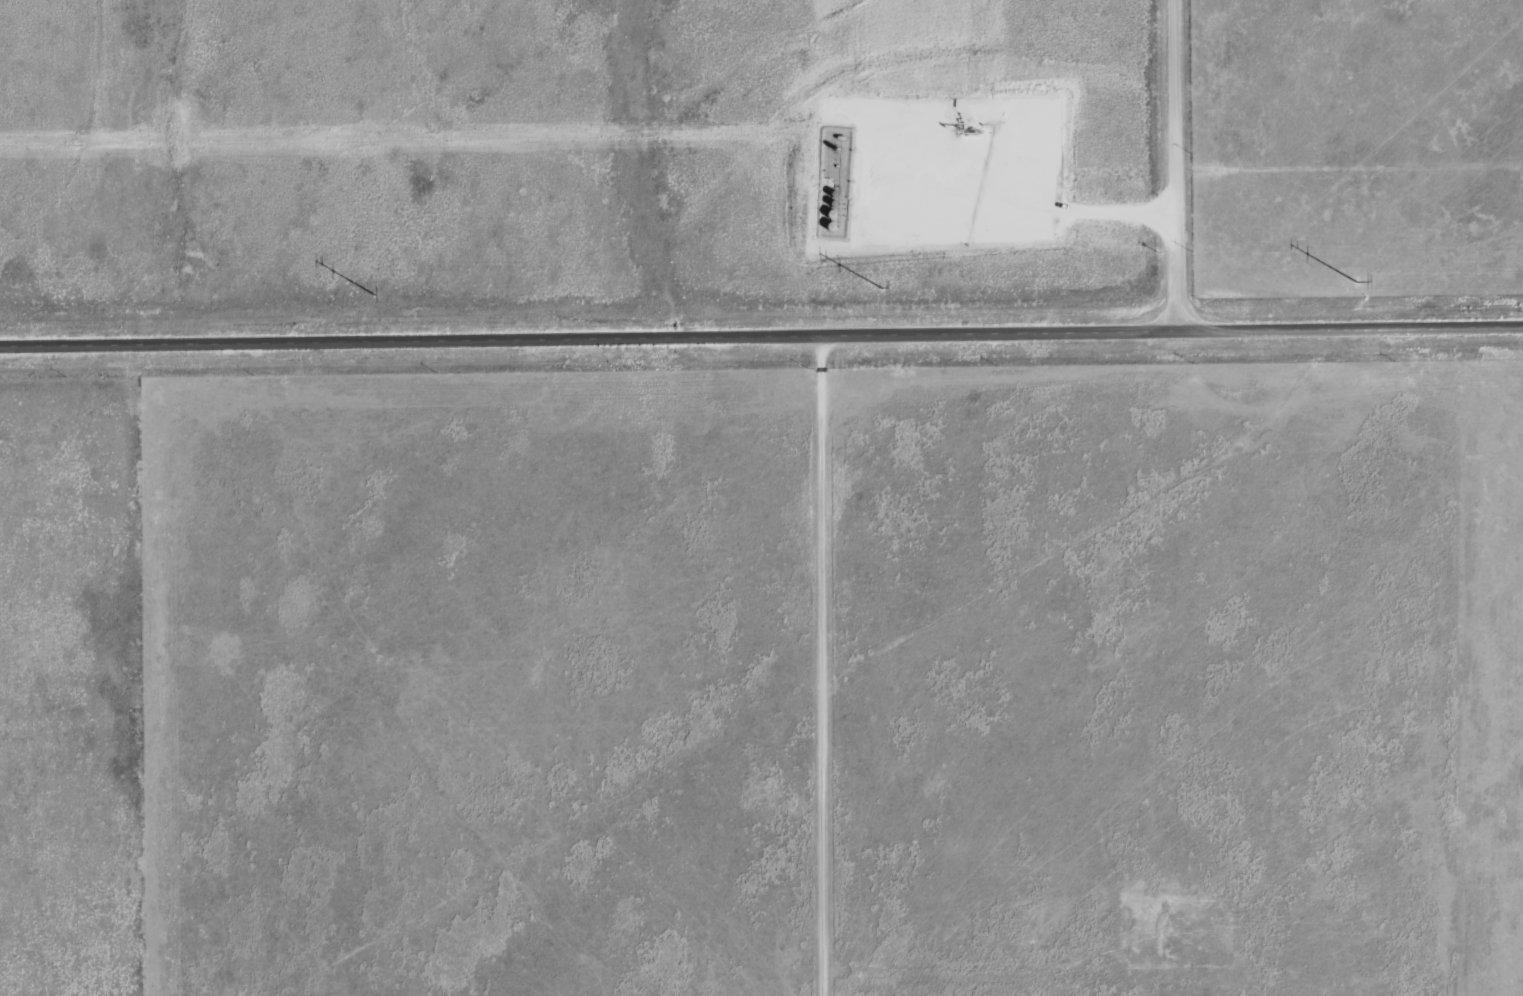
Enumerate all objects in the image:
road: (1176, 164)
power tower: (1353, 281)
power tower: (880, 285)
power tower: (372, 295)
road: (761, 334)

